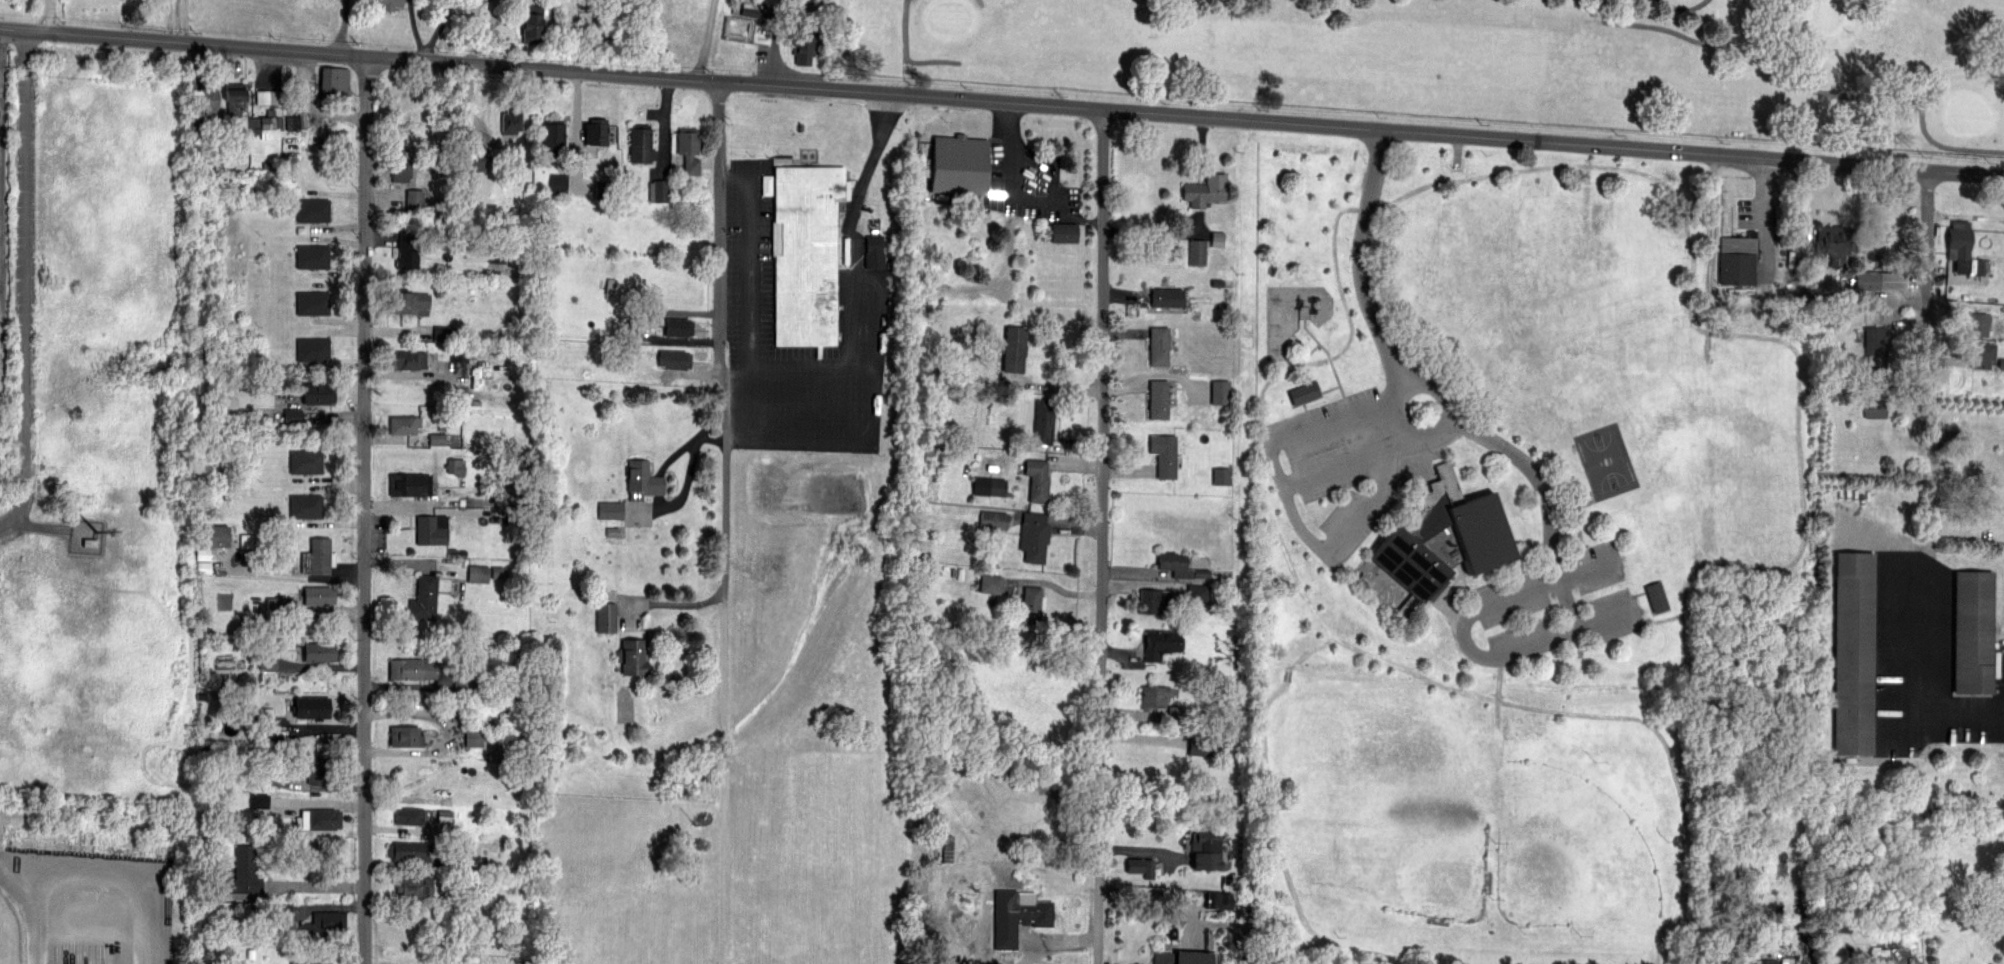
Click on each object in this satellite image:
building: (387, 3)
road: (1684, 7)
park: (1829, 12)
road: (50, 16)
park: (949, 16)
building: (530, 22)
road: (344, 26)
road: (416, 26)
road: (442, 28)
building: (802, 40)
road: (907, 54)
road: (427, 55)
park: (1491, 62)
building: (331, 82)
road: (1811, 89)
building: (268, 97)
building: (235, 99)
building: (207, 100)
road: (1002, 100)
road: (576, 106)
park: (1968, 112)
building: (511, 119)
building: (296, 122)
building: (264, 127)
building: (596, 131)
building: (553, 136)
building: (640, 143)
building: (688, 148)
road: (0, 159)
building: (471, 160)
building: (400, 164)
building: (956, 164)
parking lot: (1035, 177)
building: (558, 183)
road: (1017, 187)
building: (1206, 190)
building: (658, 191)
building: (414, 200)
building: (312, 210)
road: (1764, 216)
building: (1064, 232)
building: (1217, 239)
building: (1831, 241)
building: (1959, 244)
building: (406, 251)
building: (874, 251)
building: (1197, 252)
building: (806, 253)
building: (312, 256)
building: (1737, 259)
building: (1881, 280)
road: (25, 282)
road: (1803, 290)
building: (1166, 297)
building: (312, 302)
building: (406, 302)
road: (746, 307)
parking lot: (862, 307)
building: (1977, 323)
building: (677, 326)
road: (721, 340)
building: (1158, 345)
building: (1875, 347)
road: (848, 348)
building: (312, 349)
building: (1011, 349)
building: (1979, 353)
building: (674, 358)
building: (407, 359)
road: (1932, 363)
road: (738, 369)
building: (1220, 392)
building: (1304, 393)
building: (317, 394)
road: (1402, 397)
building: (1158, 399)
road: (799, 402)
building: (1874, 408)
road: (1425, 410)
building: (292, 416)
building: (1043, 421)
building: (403, 424)
road: (1428, 430)
building: (438, 439)
road: (1403, 442)
building: (1163, 454)
park: (1606, 460)
building: (305, 461)
building: (455, 466)
parking lot: (1334, 469)
building: (1222, 476)
building: (641, 480)
building: (1038, 481)
building: (409, 484)
building: (989, 486)
building: (305, 505)
road: (365, 509)
building: (610, 510)
building: (993, 520)
building: (430, 530)
road: (1098, 535)
building: (1034, 536)
building: (1445, 537)
building: (210, 546)
park: (1485, 549)
building: (317, 557)
building: (1178, 565)
road: (1586, 571)
building: (499, 572)
building: (478, 573)
building: (991, 584)
building: (1197, 593)
building: (318, 594)
building: (1656, 597)
building: (423, 598)
building: (1153, 601)
road: (674, 604)
building: (275, 605)
building: (1032, 605)
parking lot: (1550, 608)
building: (606, 617)
road: (1598, 618)
building: (1969, 630)
road: (1464, 639)
building: (1160, 643)
building: (318, 651)
building: (1851, 653)
building: (632, 656)
parking lot: (1899, 658)
building: (267, 668)
building: (410, 668)
building: (464, 682)
road: (1907, 684)
building: (1153, 696)
building: (312, 707)
road: (447, 733)
building: (405, 735)
building: (474, 738)
building: (316, 768)
building: (278, 779)
road: (724, 782)
building: (259, 800)
building: (264, 814)
building: (409, 815)
building: (319, 818)
park: (1410, 839)
building: (1204, 849)
building: (409, 850)
park: (1573, 854)
building: (1140, 867)
building: (245, 871)
road: (314, 886)
building: (413, 886)
building: (1219, 900)
road: (33, 905)
building: (285, 911)
building: (1030, 911)
building: (322, 925)
building: (1182, 958)
building: (313, 960)
building: (1769, 961)
building: (1782, 962)

